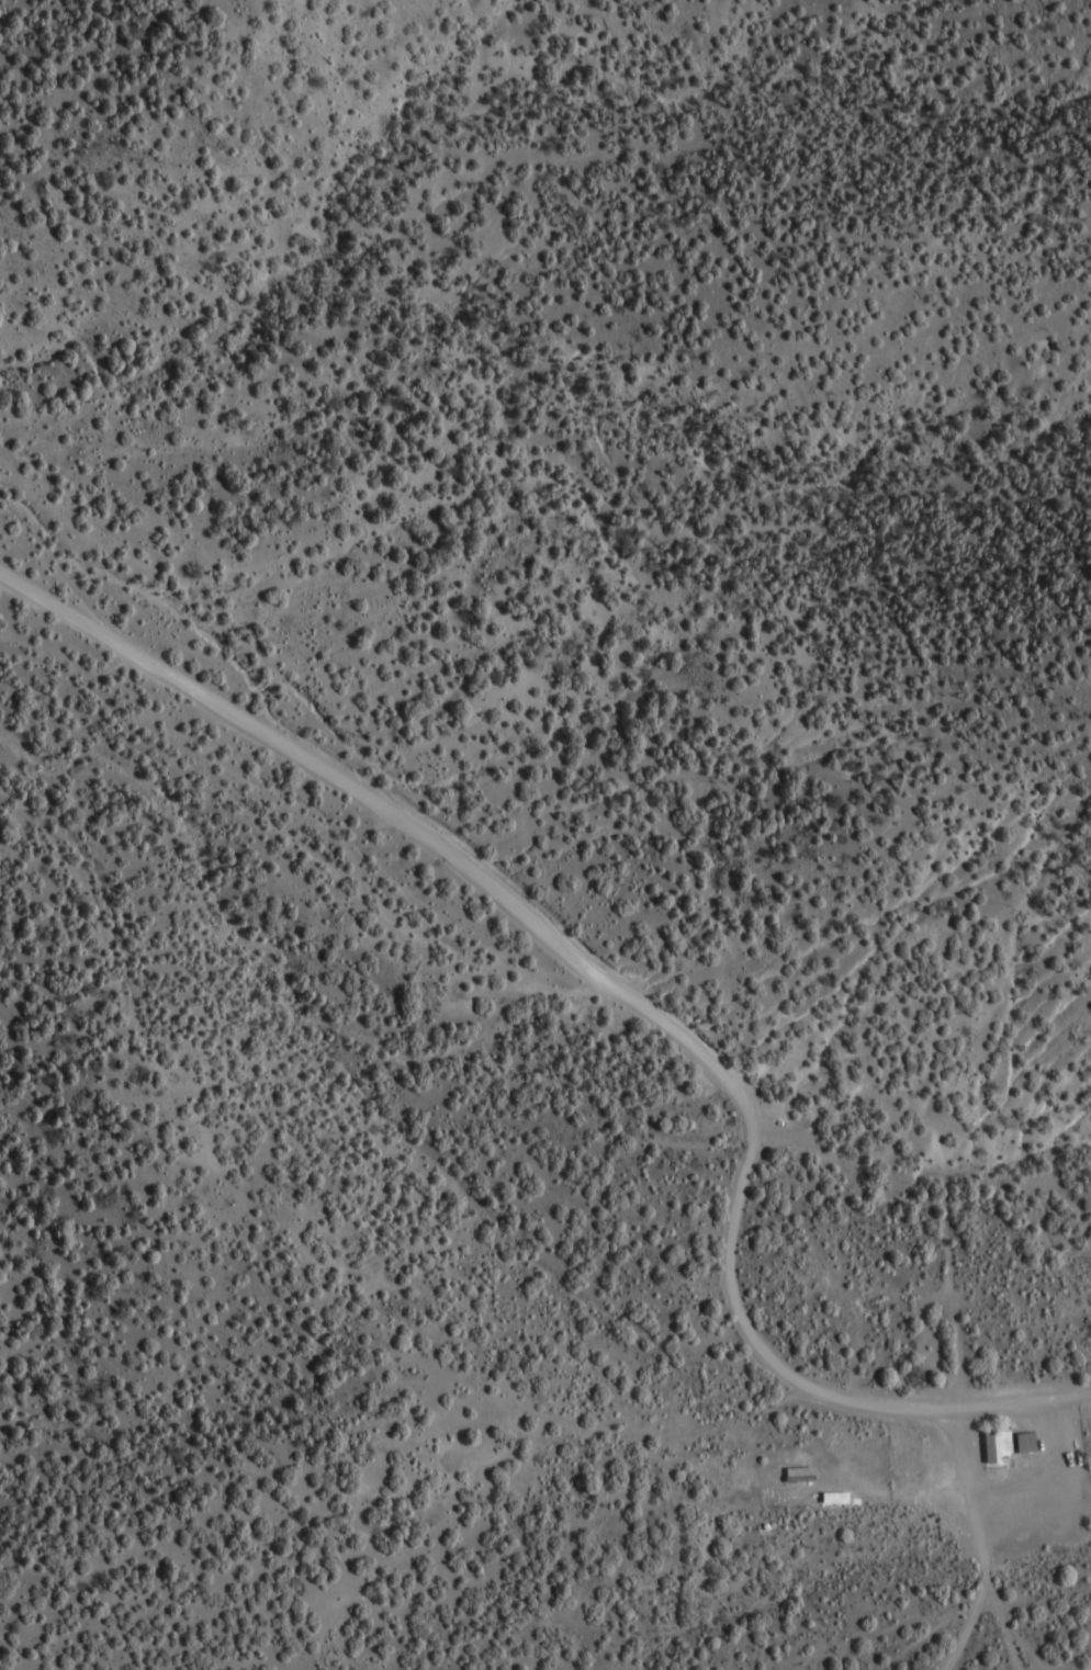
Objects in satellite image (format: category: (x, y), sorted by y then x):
road: (508, 906)
road: (1086, 1398)
road: (931, 1412)
building: (1006, 1447)
building: (792, 1479)
road: (906, 1499)
building: (829, 1500)
road: (972, 1507)
road: (963, 1635)
road: (1000, 1635)

